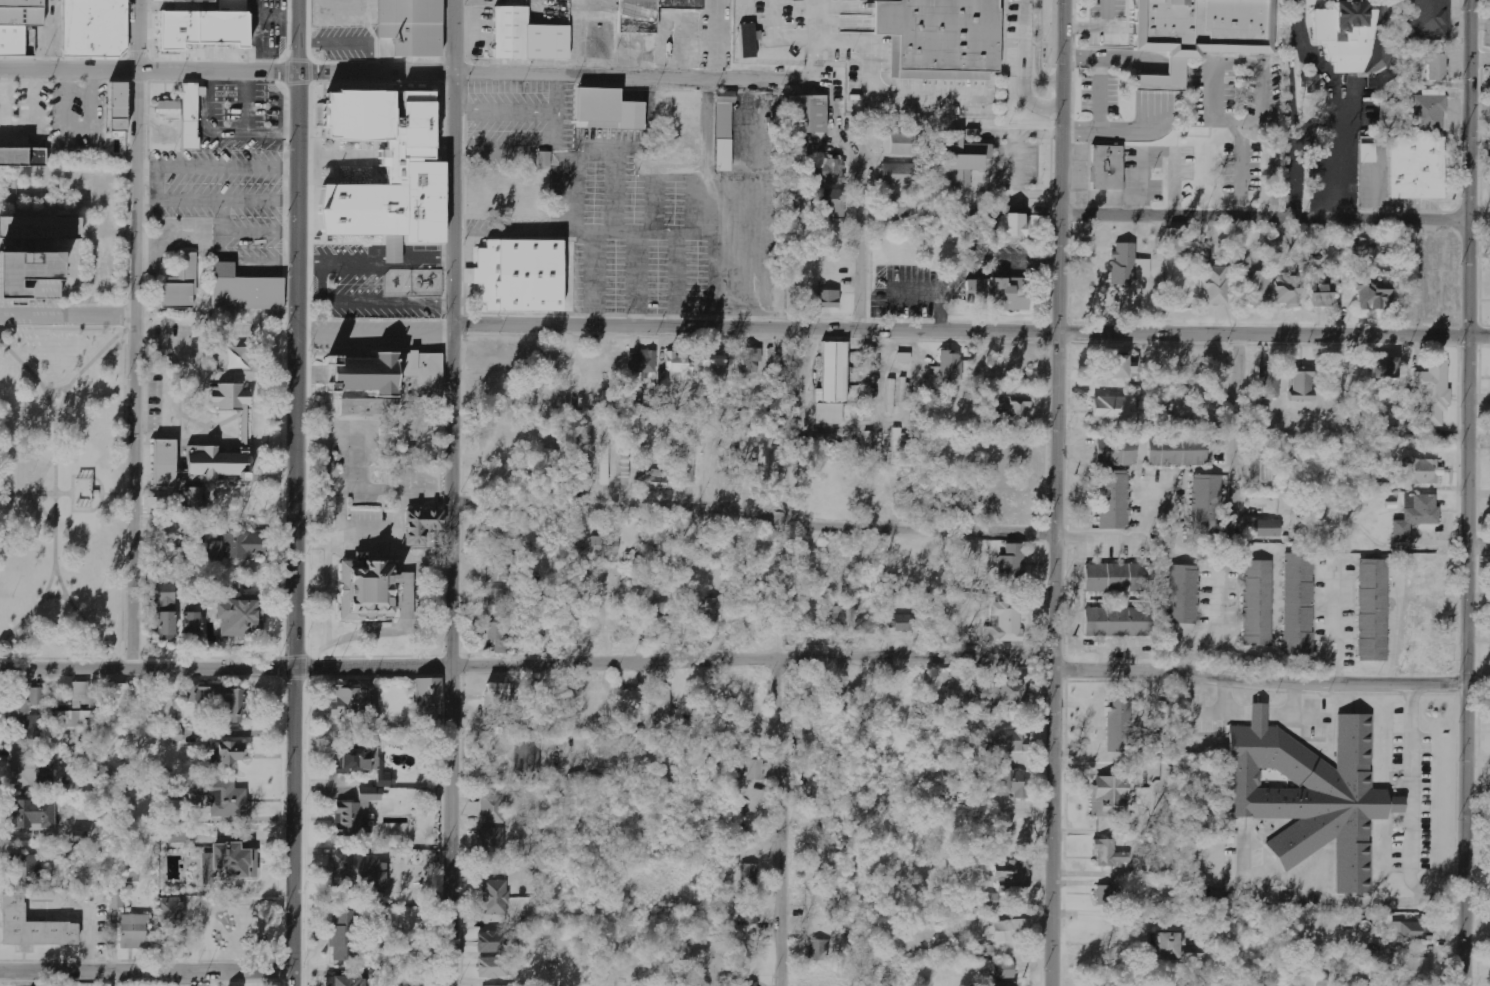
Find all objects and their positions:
building: (188, 0)
building: (21, 2)
building: (21, 14)
building: (649, 14)
building: (1426, 20)
building: (408, 25)
building: (93, 27)
building: (204, 27)
building: (1195, 32)
building: (942, 34)
road: (774, 37)
building: (1353, 37)
building: (526, 38)
building: (17, 40)
building: (749, 40)
road: (813, 58)
building: (1434, 68)
road: (1021, 70)
road: (150, 71)
road: (870, 72)
road: (556, 75)
building: (120, 110)
building: (607, 110)
building: (183, 113)
building: (807, 114)
building: (1426, 115)
building: (1392, 117)
building: (722, 132)
building: (904, 144)
building: (1369, 153)
building: (23, 157)
building: (544, 159)
building: (963, 161)
building: (385, 167)
building: (1415, 168)
building: (1105, 169)
building: (828, 171)
building: (900, 175)
parking lot: (226, 199)
building: (830, 202)
road: (744, 203)
building: (894, 208)
parking lot: (633, 215)
road: (1262, 218)
building: (1014, 226)
road: (600, 231)
building: (1181, 243)
building: (1359, 247)
building: (36, 255)
building: (1242, 263)
building: (1128, 266)
building: (517, 272)
building: (1340, 275)
road: (860, 284)
building: (179, 285)
building: (1216, 285)
building: (243, 290)
building: (1287, 291)
building: (1371, 292)
building: (997, 294)
building: (1320, 296)
building: (825, 300)
road: (67, 314)
road: (376, 329)
road: (972, 332)
road: (133, 333)
building: (904, 358)
building: (642, 363)
building: (749, 363)
building: (715, 364)
building: (680, 365)
building: (951, 365)
building: (1121, 366)
building: (1385, 369)
building: (391, 374)
road: (35, 375)
building: (1269, 382)
building: (1303, 384)
building: (832, 386)
building: (1433, 393)
building: (227, 398)
road: (61, 401)
building: (1011, 408)
building: (1114, 410)
road: (1236, 426)
building: (897, 446)
building: (1117, 451)
building: (1178, 451)
building: (216, 462)
building: (164, 463)
building: (605, 465)
building: (691, 465)
building: (585, 466)
building: (1261, 471)
building: (1422, 471)
road: (40, 473)
building: (655, 480)
road: (72, 491)
building: (83, 491)
park: (60, 492)
road: (64, 492)
road: (103, 492)
road: (297, 492)
road: (453, 492)
road: (1055, 492)
road: (1465, 492)
building: (194, 496)
building: (1114, 500)
building: (1206, 504)
building: (155, 512)
road: (754, 513)
building: (1416, 516)
building: (422, 526)
building: (1267, 529)
building: (238, 546)
building: (605, 546)
road: (1477, 546)
road: (55, 549)
building: (1012, 565)
building: (496, 572)
building: (1112, 578)
building: (232, 586)
building: (367, 590)
building: (1184, 595)
building: (495, 597)
building: (164, 598)
building: (1258, 603)
building: (1299, 604)
road: (81, 607)
building: (1373, 611)
building: (713, 617)
building: (237, 618)
building: (1004, 621)
building: (1116, 621)
building: (901, 622)
building: (191, 624)
building: (658, 626)
building: (865, 626)
building: (165, 627)
building: (502, 638)
road: (1196, 645)
road: (528, 662)
road: (1260, 675)
building: (428, 692)
building: (1014, 692)
building: (118, 695)
building: (839, 695)
building: (499, 696)
building: (353, 700)
building: (629, 700)
building: (997, 700)
building: (664, 705)
building: (76, 709)
building: (25, 718)
building: (1120, 726)
building: (1007, 740)
building: (227, 751)
building: (358, 754)
building: (527, 755)
building: (23, 768)
building: (756, 770)
building: (385, 778)
building: (1006, 783)
building: (1311, 794)
building: (224, 797)
building: (1110, 797)
building: (178, 808)
building: (492, 808)
building: (354, 812)
building: (34, 814)
road: (776, 822)
building: (1010, 823)
building: (177, 835)
building: (492, 841)
building: (1111, 854)
building: (234, 860)
building: (206, 867)
building: (23, 868)
building: (358, 873)
building: (749, 875)
building: (1013, 878)
building: (1106, 896)
building: (496, 897)
building: (985, 900)
building: (750, 912)
building: (170, 914)
building: (32, 926)
building: (133, 931)
building: (1011, 931)
building: (1410, 931)
building: (341, 936)
building: (512, 939)
building: (492, 941)
building: (1174, 947)
building: (818, 950)
building: (985, 953)
building: (492, 967)
road: (146, 969)
building: (1005, 969)
building: (1415, 971)
building: (344, 980)
building: (750, 984)
building: (1000, 984)
building: (483, 985)

